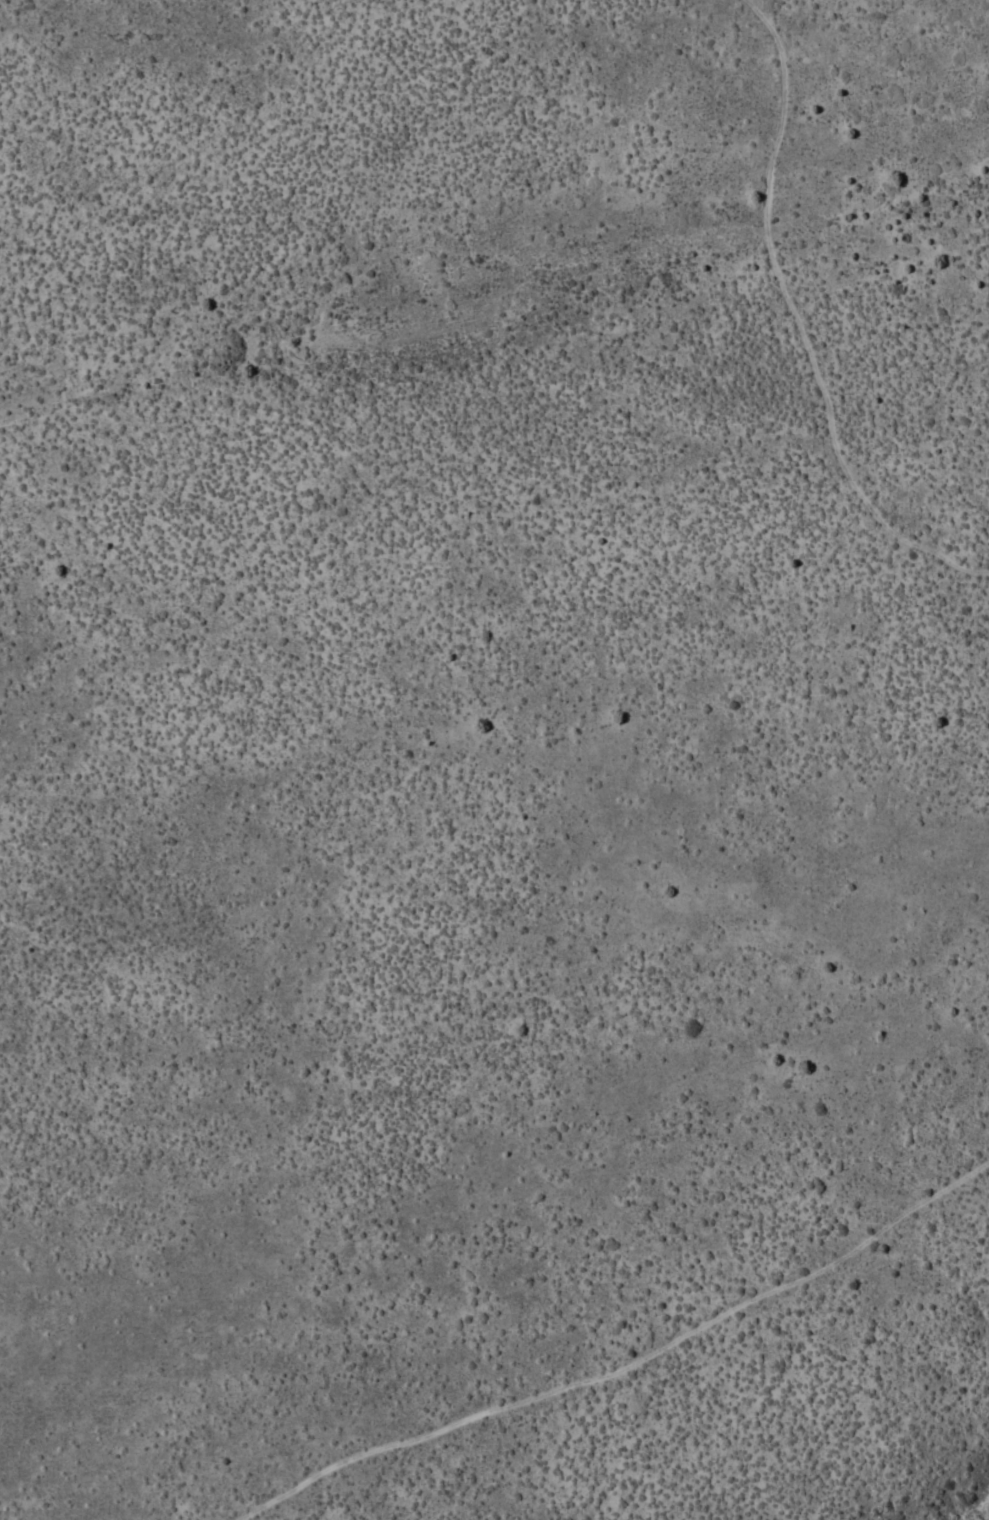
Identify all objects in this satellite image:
road: (806, 313)
road: (604, 1364)

